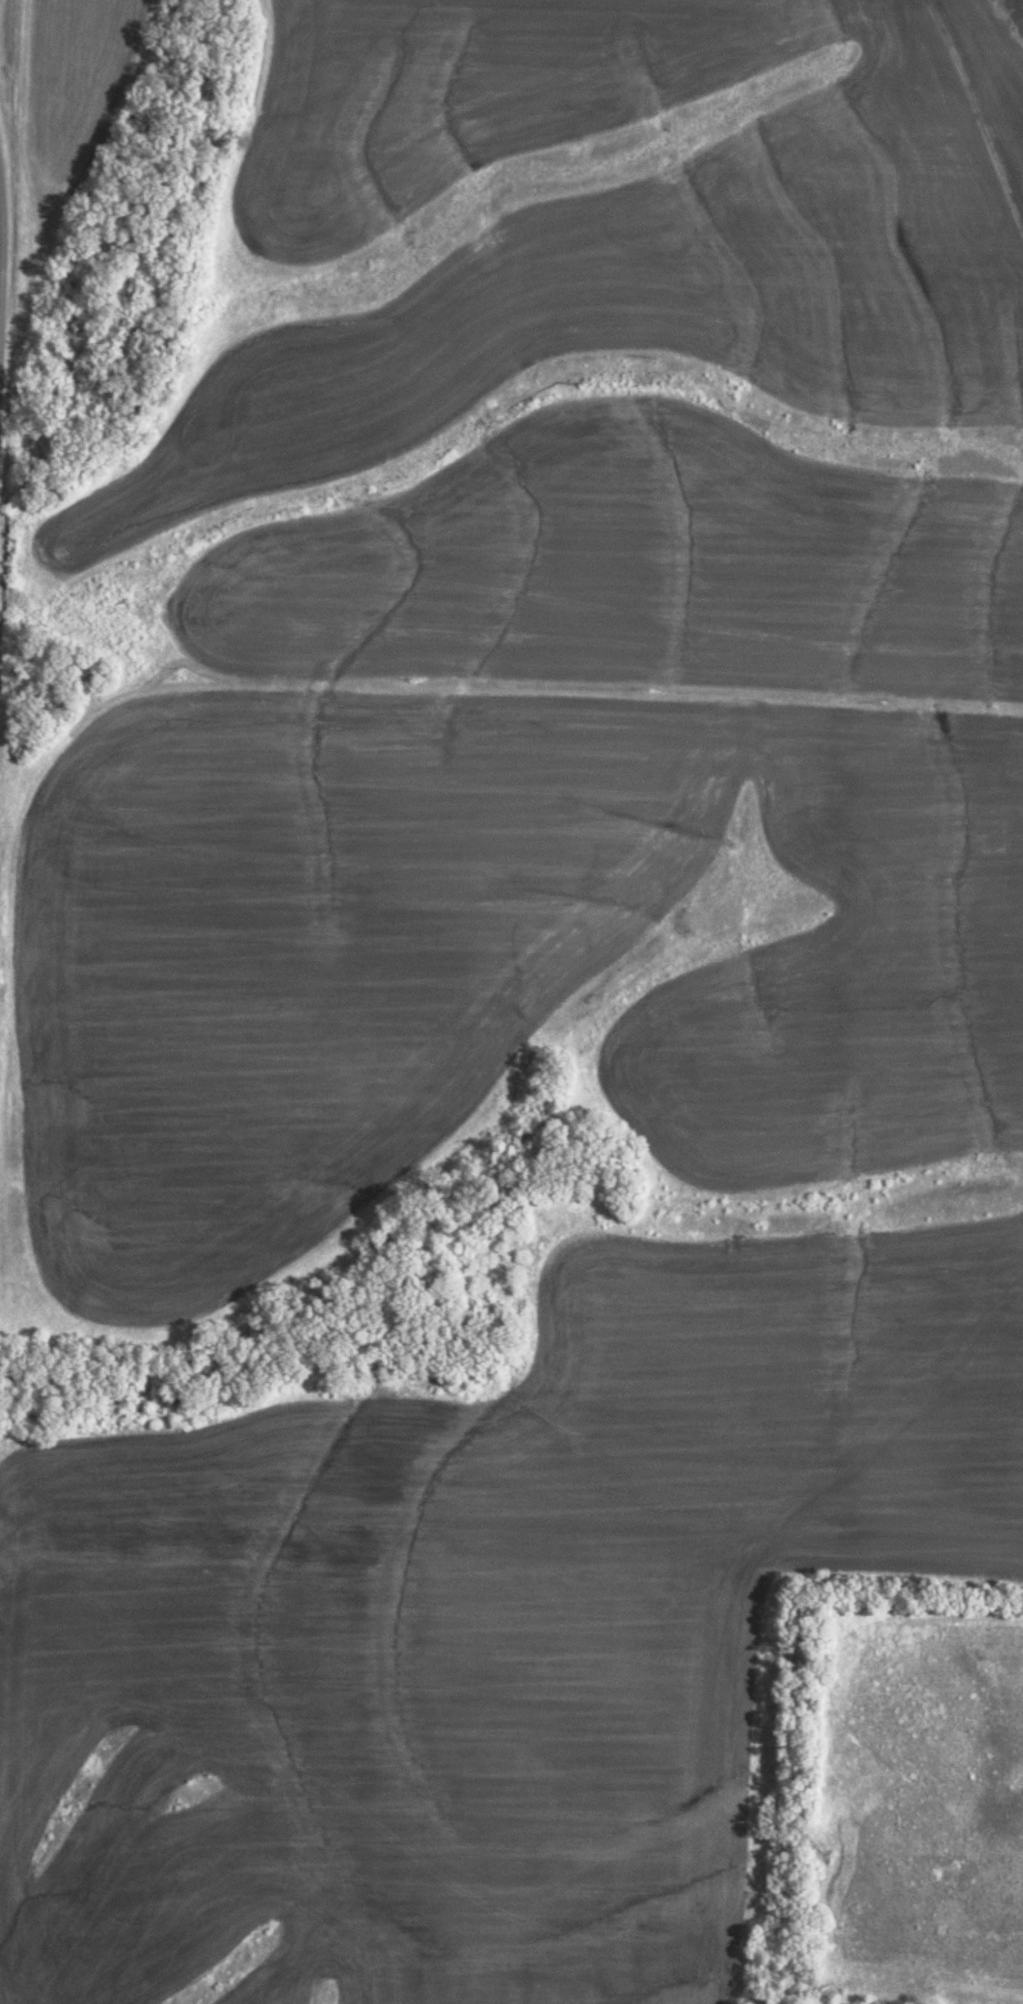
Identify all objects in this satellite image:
road: (2, 230)

